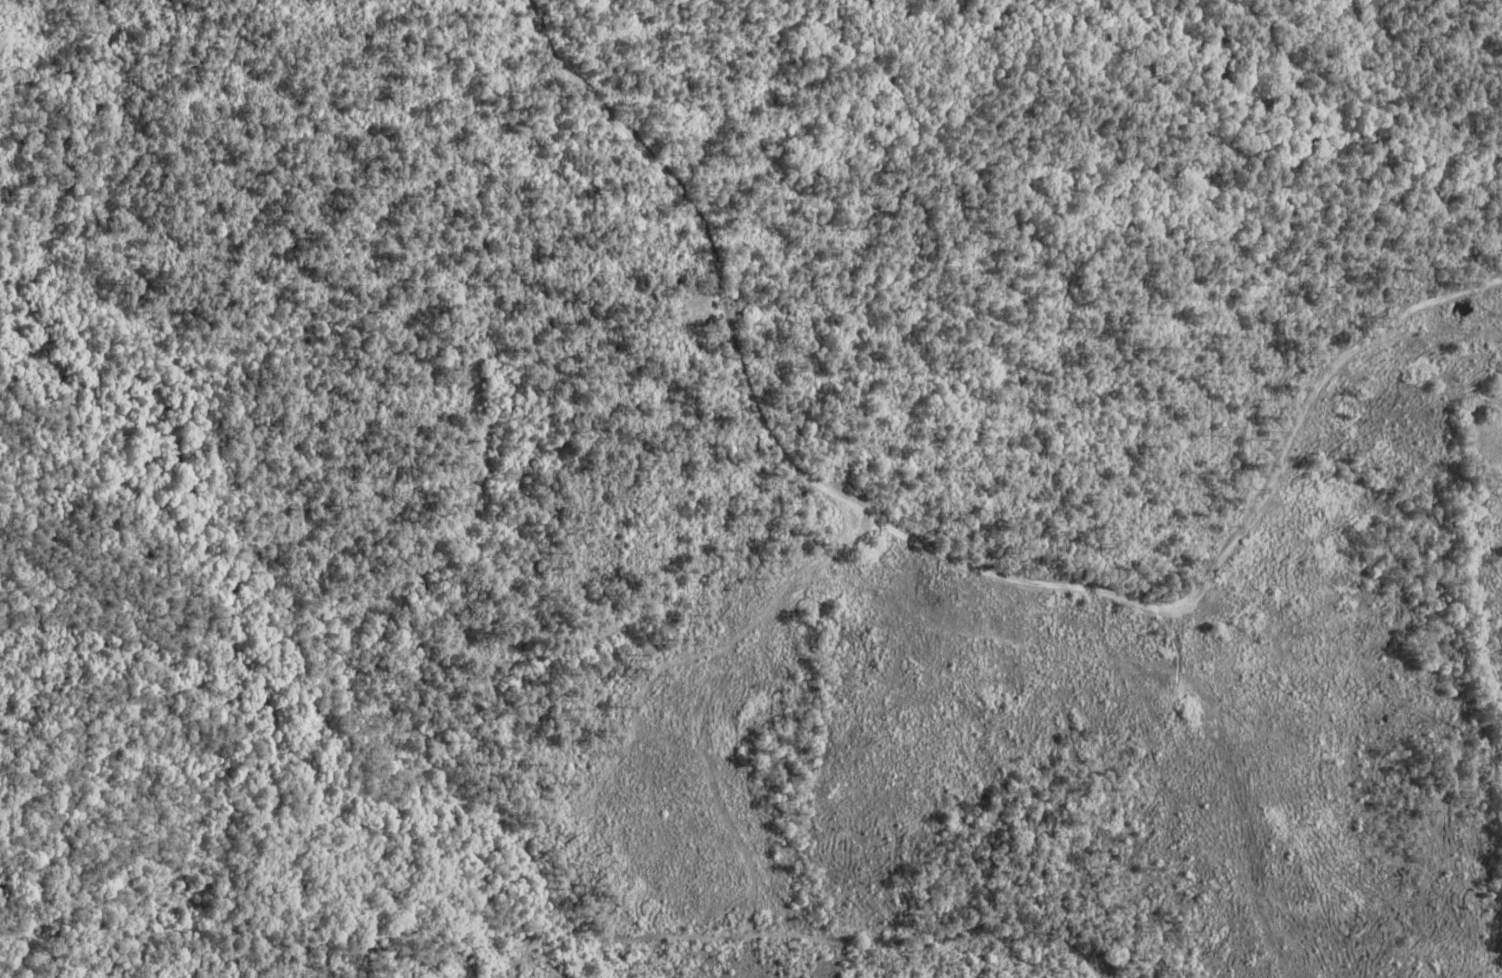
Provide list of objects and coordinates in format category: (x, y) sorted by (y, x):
road: (544, 36)

